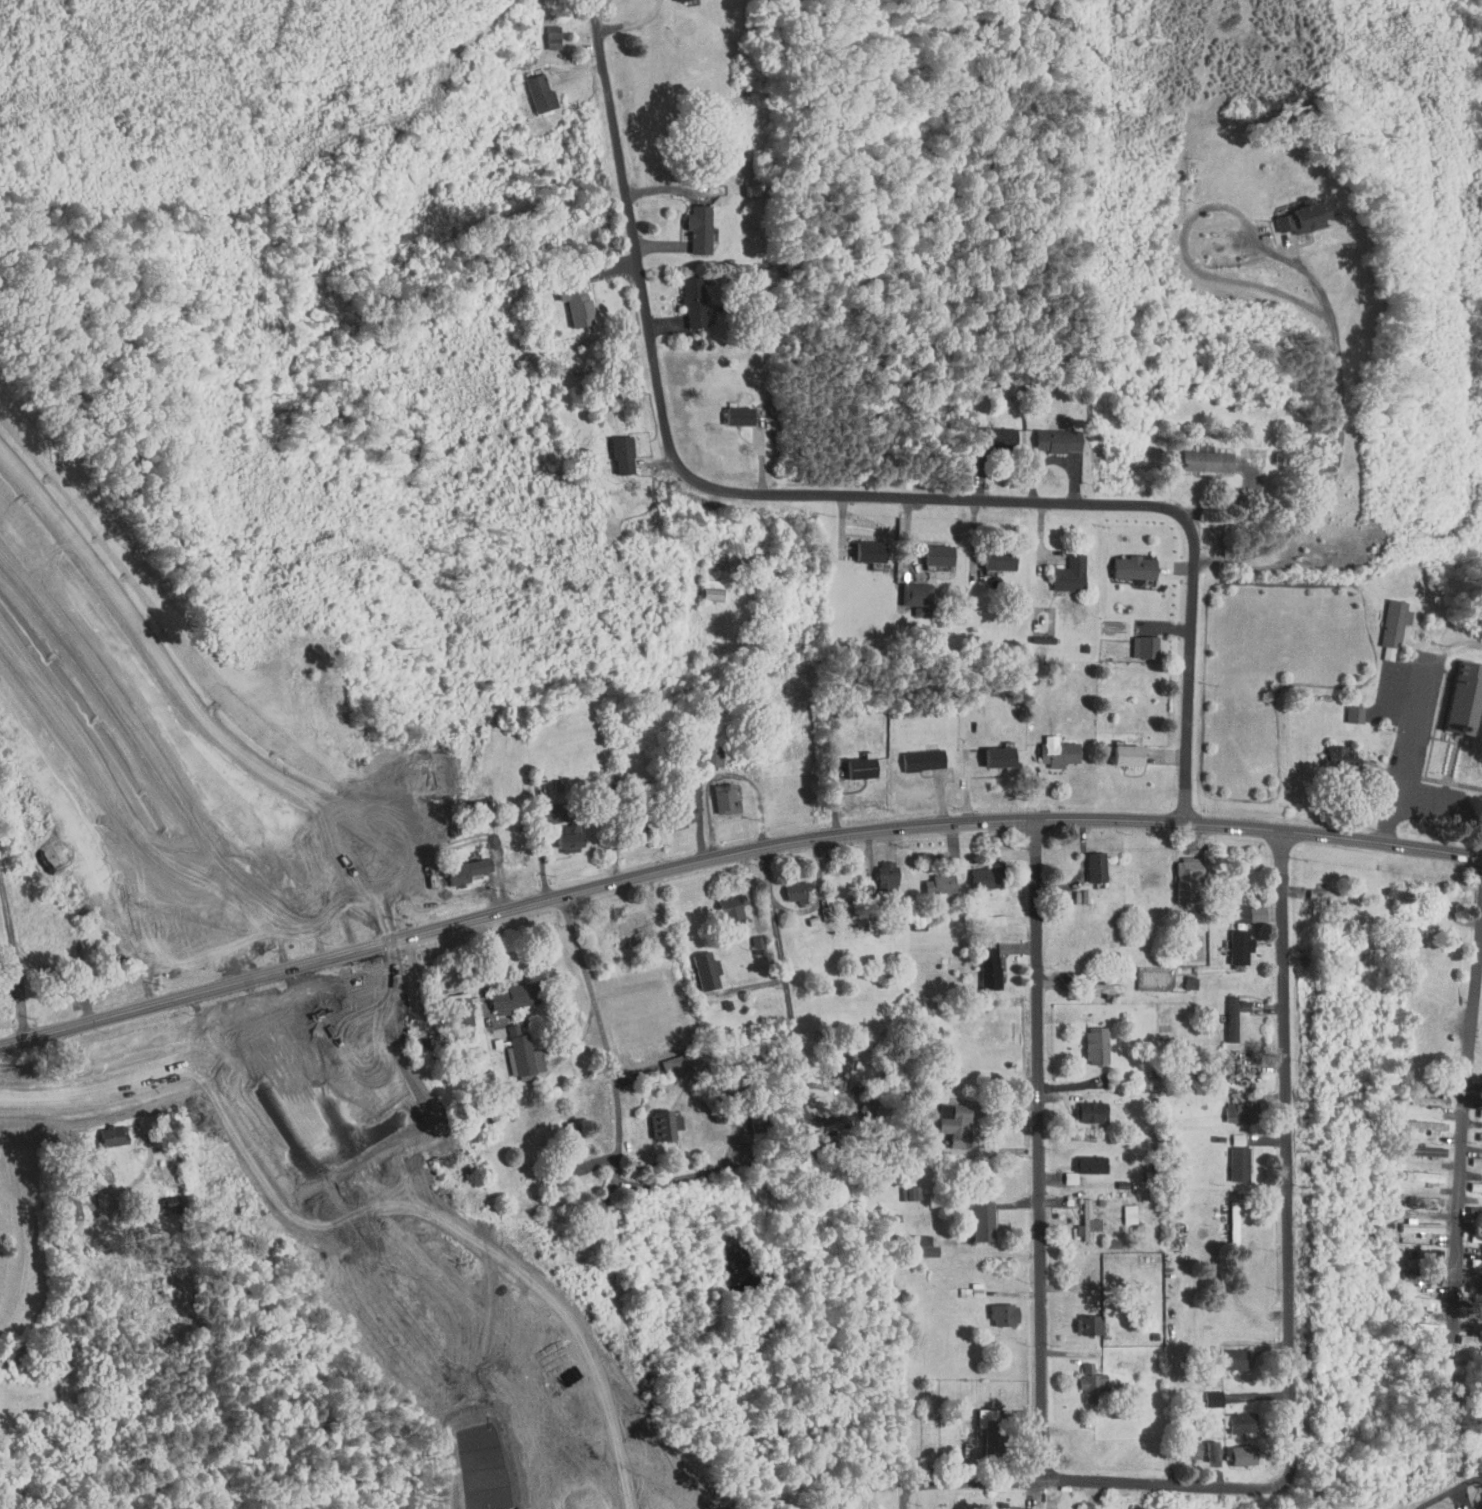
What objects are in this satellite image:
road: (600, 14)
road: (593, 15)
road: (634, 23)
building: (543, 31)
building: (530, 87)
building: (1294, 210)
building: (688, 222)
building: (565, 295)
building: (684, 296)
road: (1318, 297)
building: (728, 409)
building: (985, 431)
building: (1047, 434)
building: (612, 448)
building: (1197, 454)
road: (862, 495)
building: (859, 545)
building: (928, 548)
building: (989, 553)
building: (1124, 561)
building: (1060, 568)
building: (702, 584)
building: (908, 591)
building: (1383, 621)
building: (1135, 640)
building: (1455, 691)
building: (1344, 708)
road: (218, 727)
building: (1049, 747)
building: (1117, 749)
building: (989, 750)
building: (1332, 750)
building: (913, 753)
road: (1407, 757)
building: (851, 761)
building: (715, 792)
road: (1449, 804)
building: (671, 807)
road: (903, 827)
building: (559, 832)
building: (505, 850)
building: (1086, 860)
building: (456, 864)
building: (876, 868)
building: (977, 871)
building: (1177, 871)
building: (930, 878)
building: (400, 879)
building: (787, 886)
building: (721, 901)
building: (1230, 907)
building: (623, 923)
building: (747, 938)
building: (1230, 940)
building: (979, 960)
building: (696, 964)
road: (784, 968)
building: (502, 992)
building: (1224, 1009)
building: (451, 1011)
road: (283, 1026)
road: (607, 1039)
building: (1086, 1039)
building: (369, 1052)
building: (828, 1059)
building: (664, 1060)
building: (226, 1074)
road: (110, 1085)
building: (1419, 1094)
building: (935, 1105)
building: (1079, 1106)
building: (1228, 1106)
building: (1475, 1107)
building: (185, 1114)
building: (651, 1120)
building: (947, 1120)
building: (1417, 1120)
building: (103, 1130)
building: (1475, 1130)
road: (1462, 1131)
building: (1227, 1133)
building: (234, 1136)
building: (1414, 1145)
road: (1040, 1148)
road: (1288, 1155)
building: (1471, 1155)
building: (1082, 1158)
building: (1229, 1158)
building: (1414, 1170)
building: (1060, 1171)
road: (688, 1175)
building: (1471, 1181)
building: (901, 1187)
building: (1421, 1195)
building: (160, 1197)
building: (1120, 1208)
building: (1469, 1208)
building: (972, 1215)
building: (1079, 1215)
building: (1224, 1216)
building: (1412, 1222)
building: (1471, 1231)
building: (917, 1245)
building: (1468, 1282)
building: (962, 1285)
building: (1414, 1296)
building: (994, 1309)
building: (1077, 1319)
building: (1465, 1334)
building: (1224, 1353)
building: (1082, 1379)
building: (1203, 1392)
building: (1230, 1416)
building: (1181, 1444)
building: (1202, 1445)
building: (1233, 1449)
road: (966, 1483)
road: (1167, 1483)
building: (1002, 1504)

